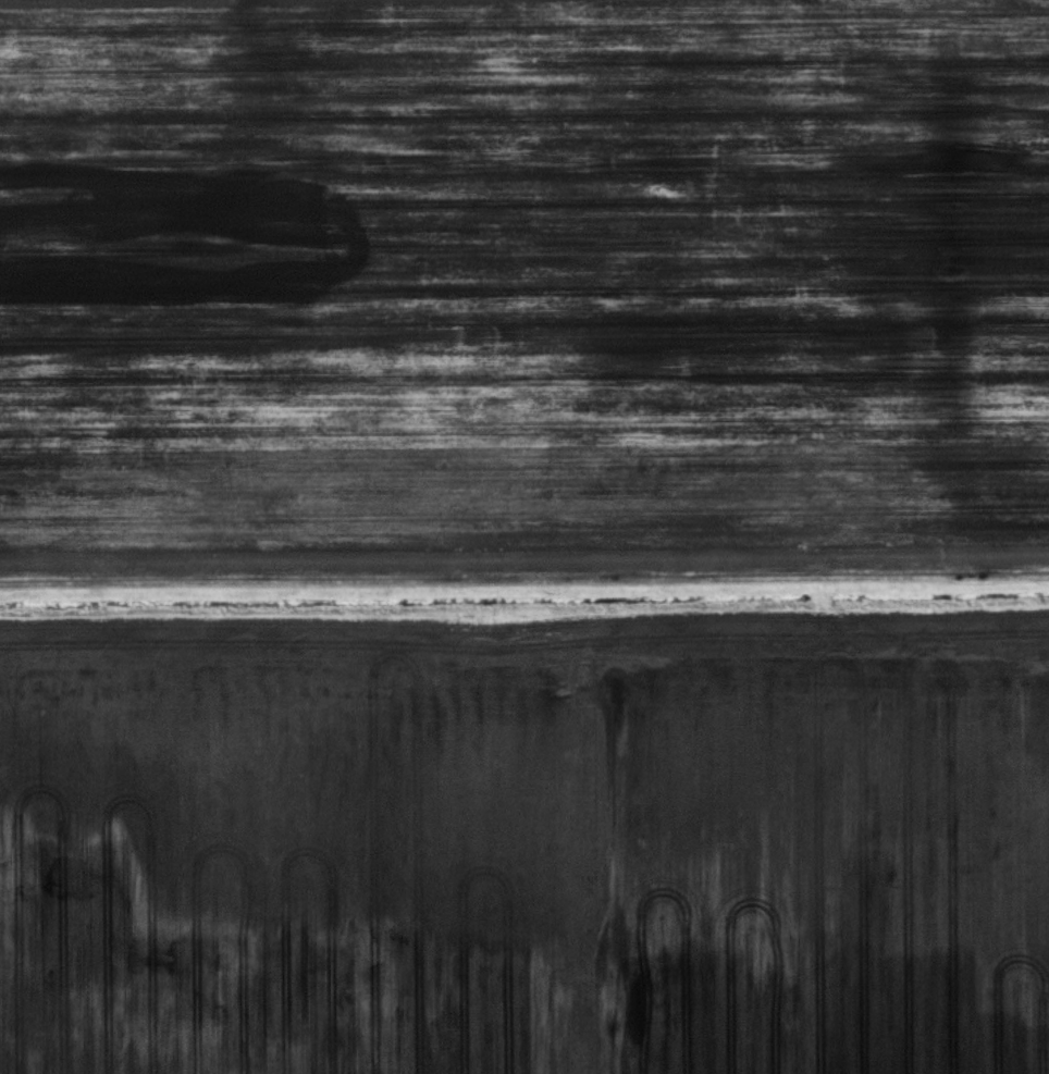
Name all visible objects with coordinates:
road: (524, 579)

